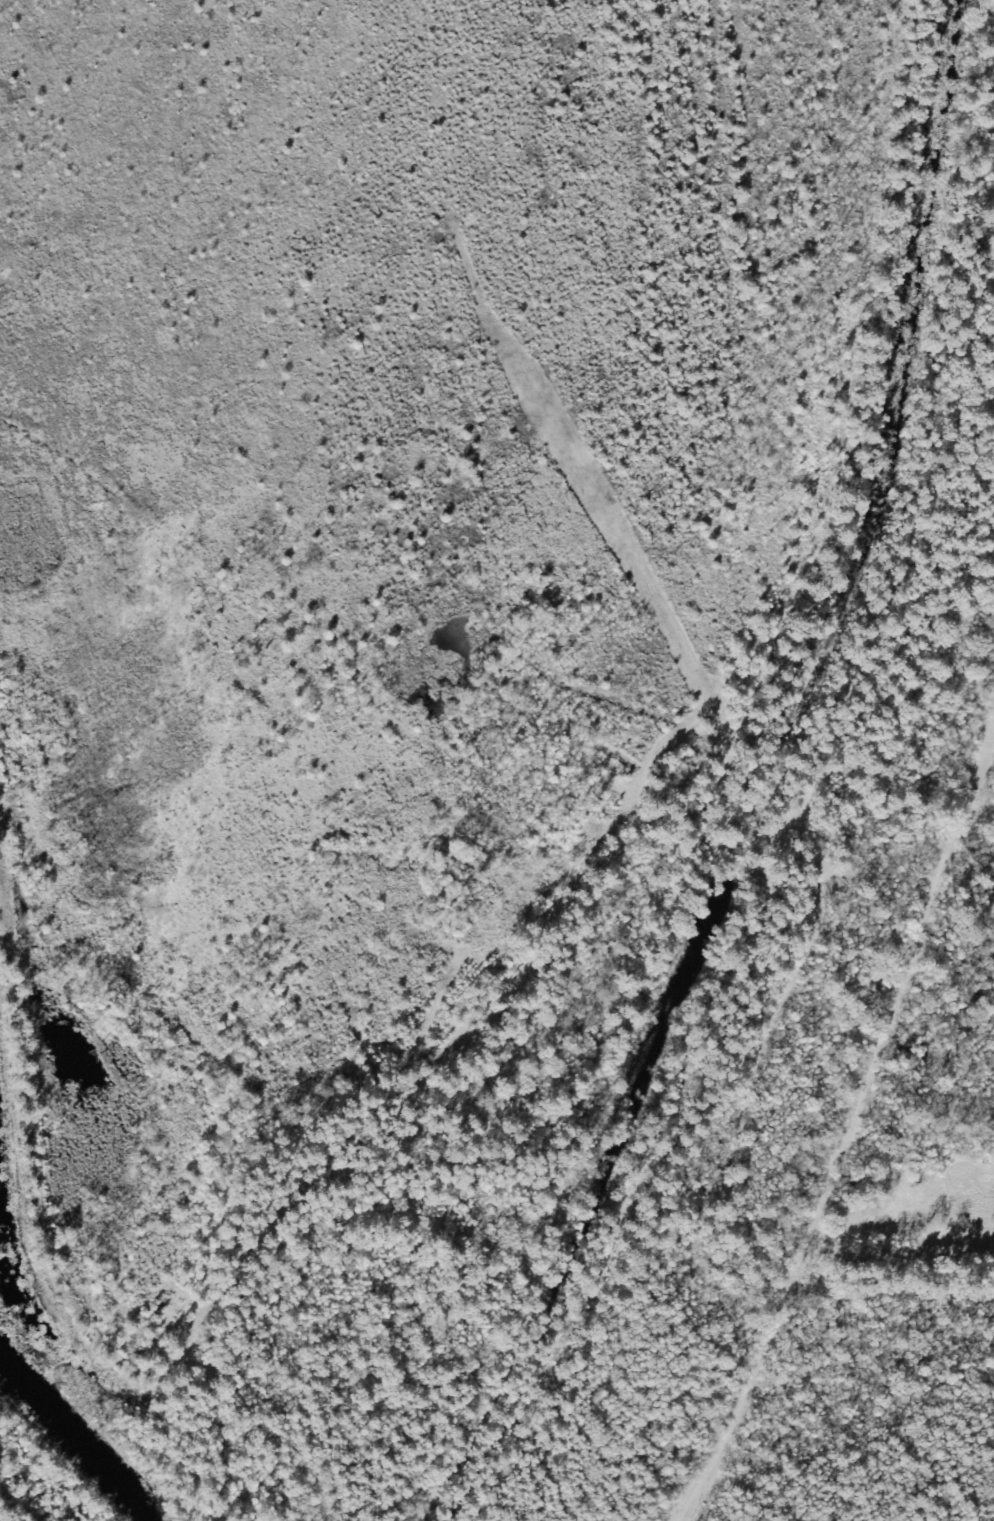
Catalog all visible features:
road: (846, 1122)

